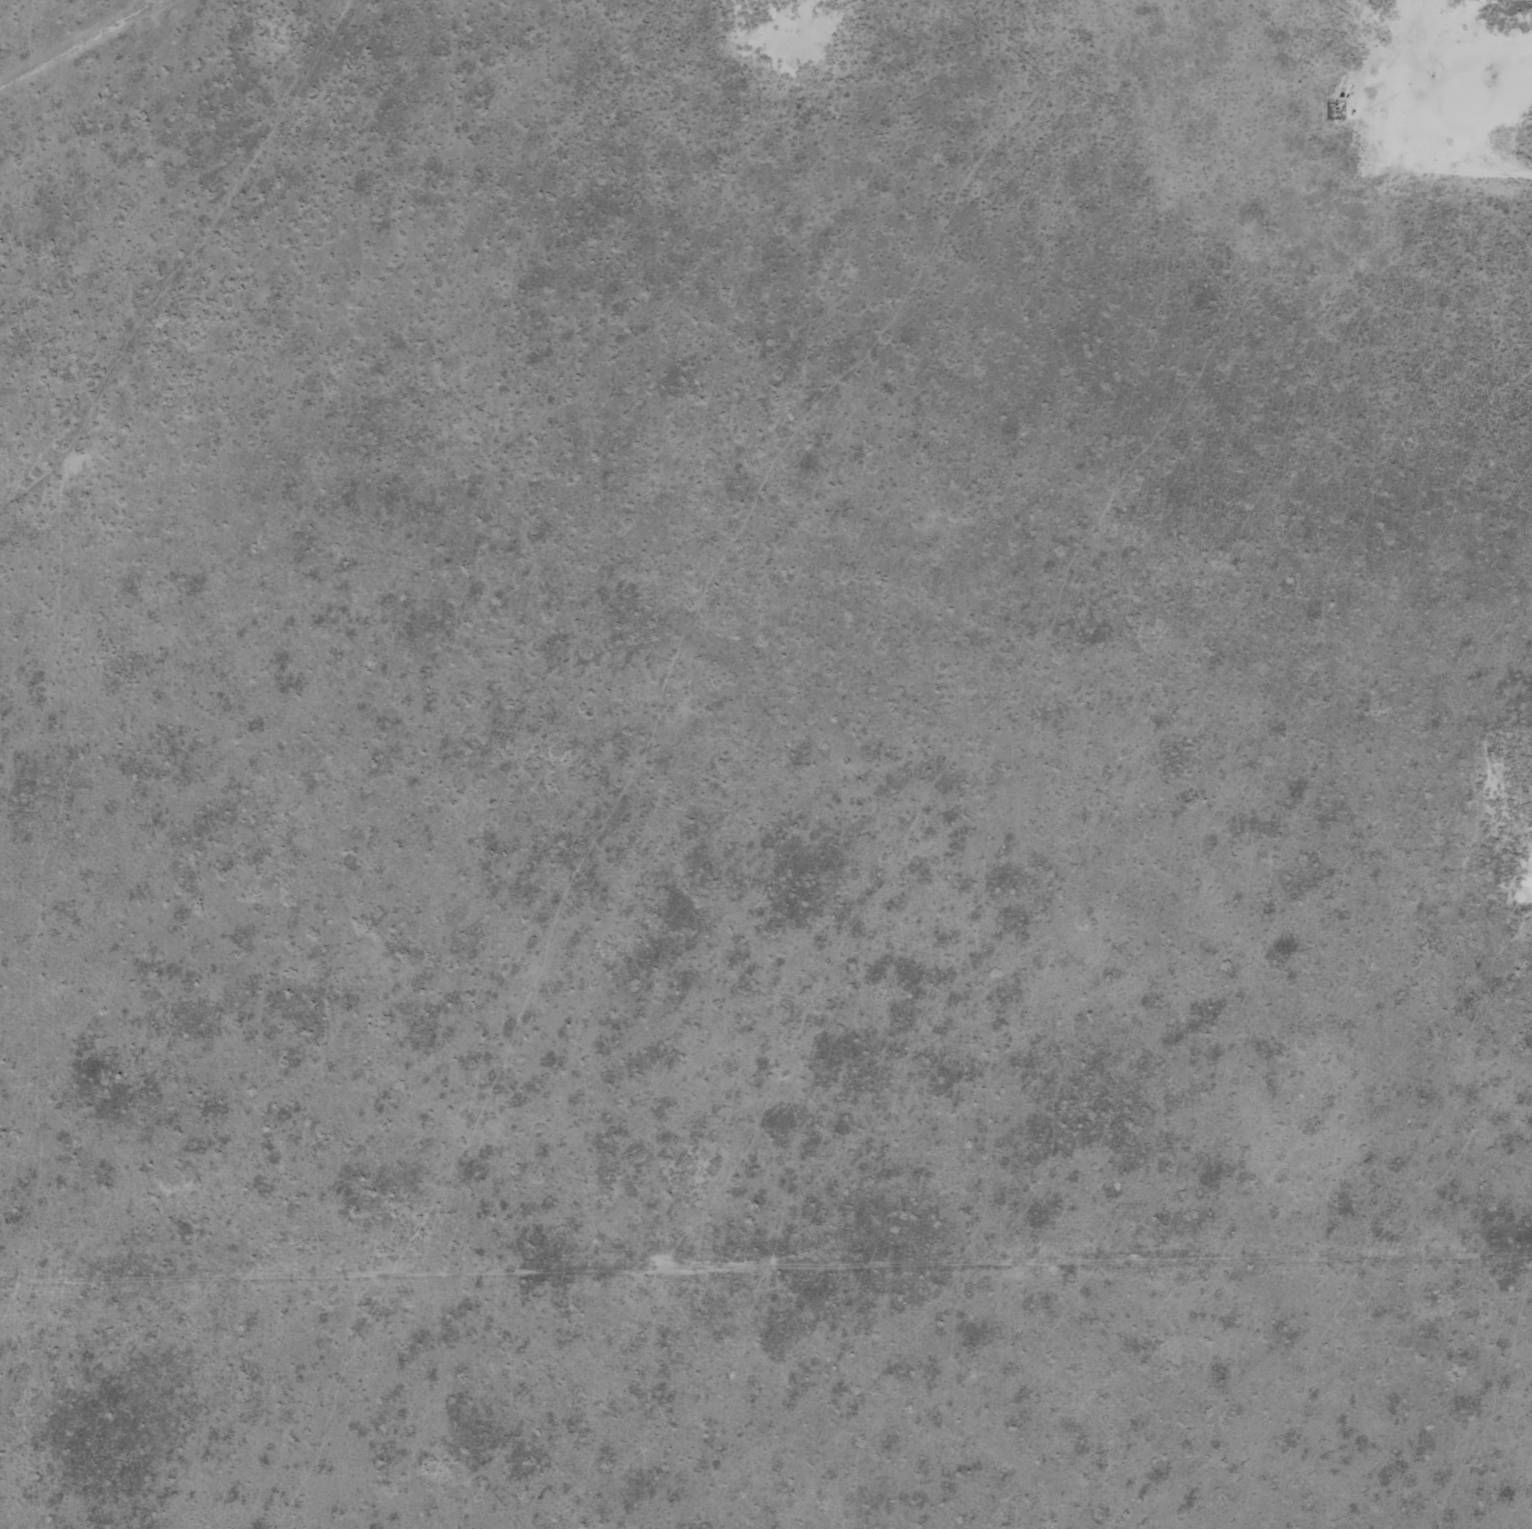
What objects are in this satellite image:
road: (1497, 172)

